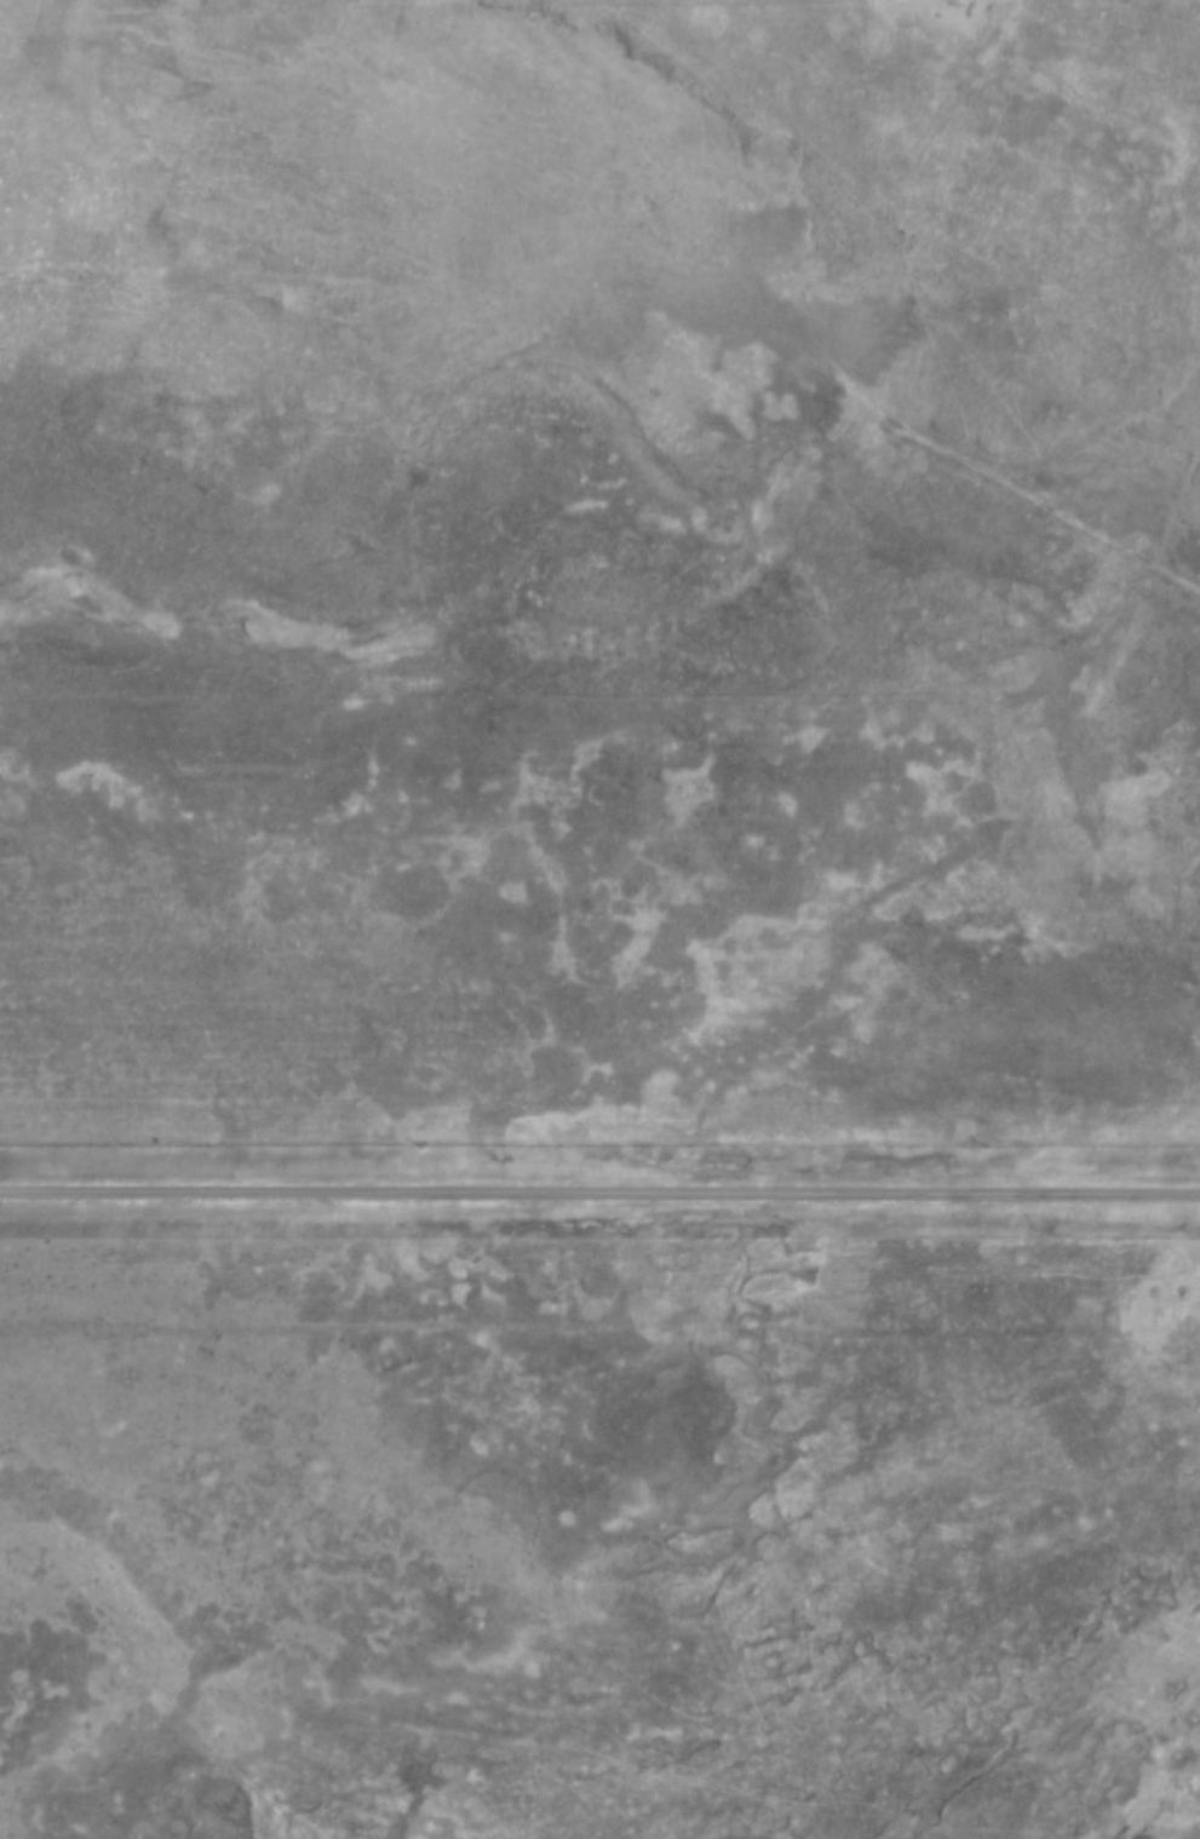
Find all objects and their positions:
road: (599, 1194)

